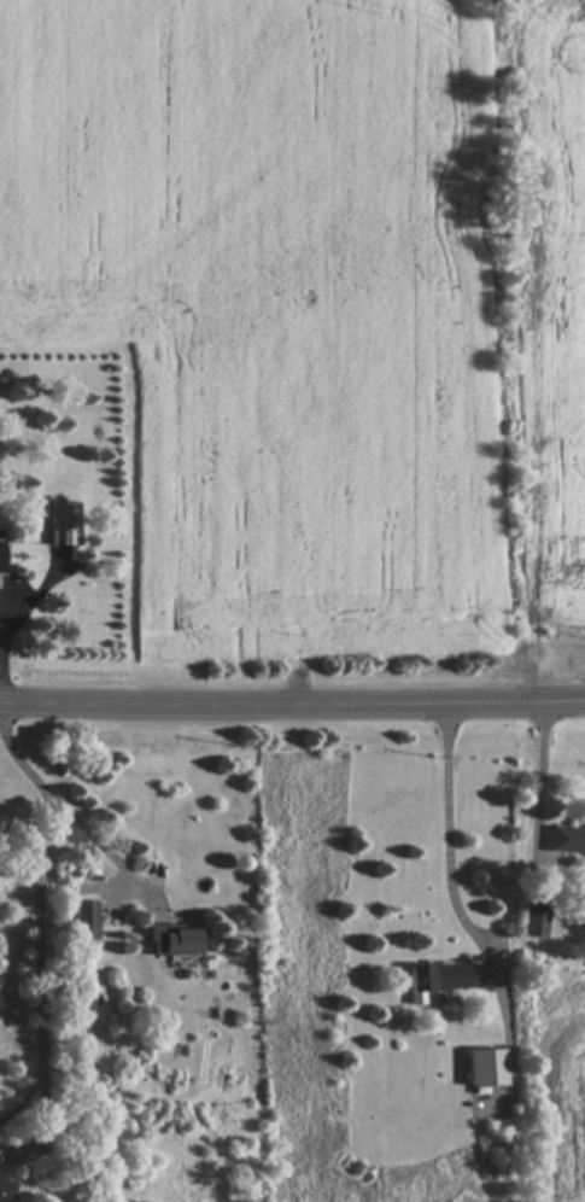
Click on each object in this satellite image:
building: (55, 526)
road: (292, 706)
road: (543, 781)
building: (563, 841)
road: (107, 852)
road: (446, 897)
road: (43, 910)
building: (530, 922)
building: (78, 923)
building: (164, 941)
building: (432, 978)
building: (479, 1068)
building: (498, 1161)
building: (4, 1191)

